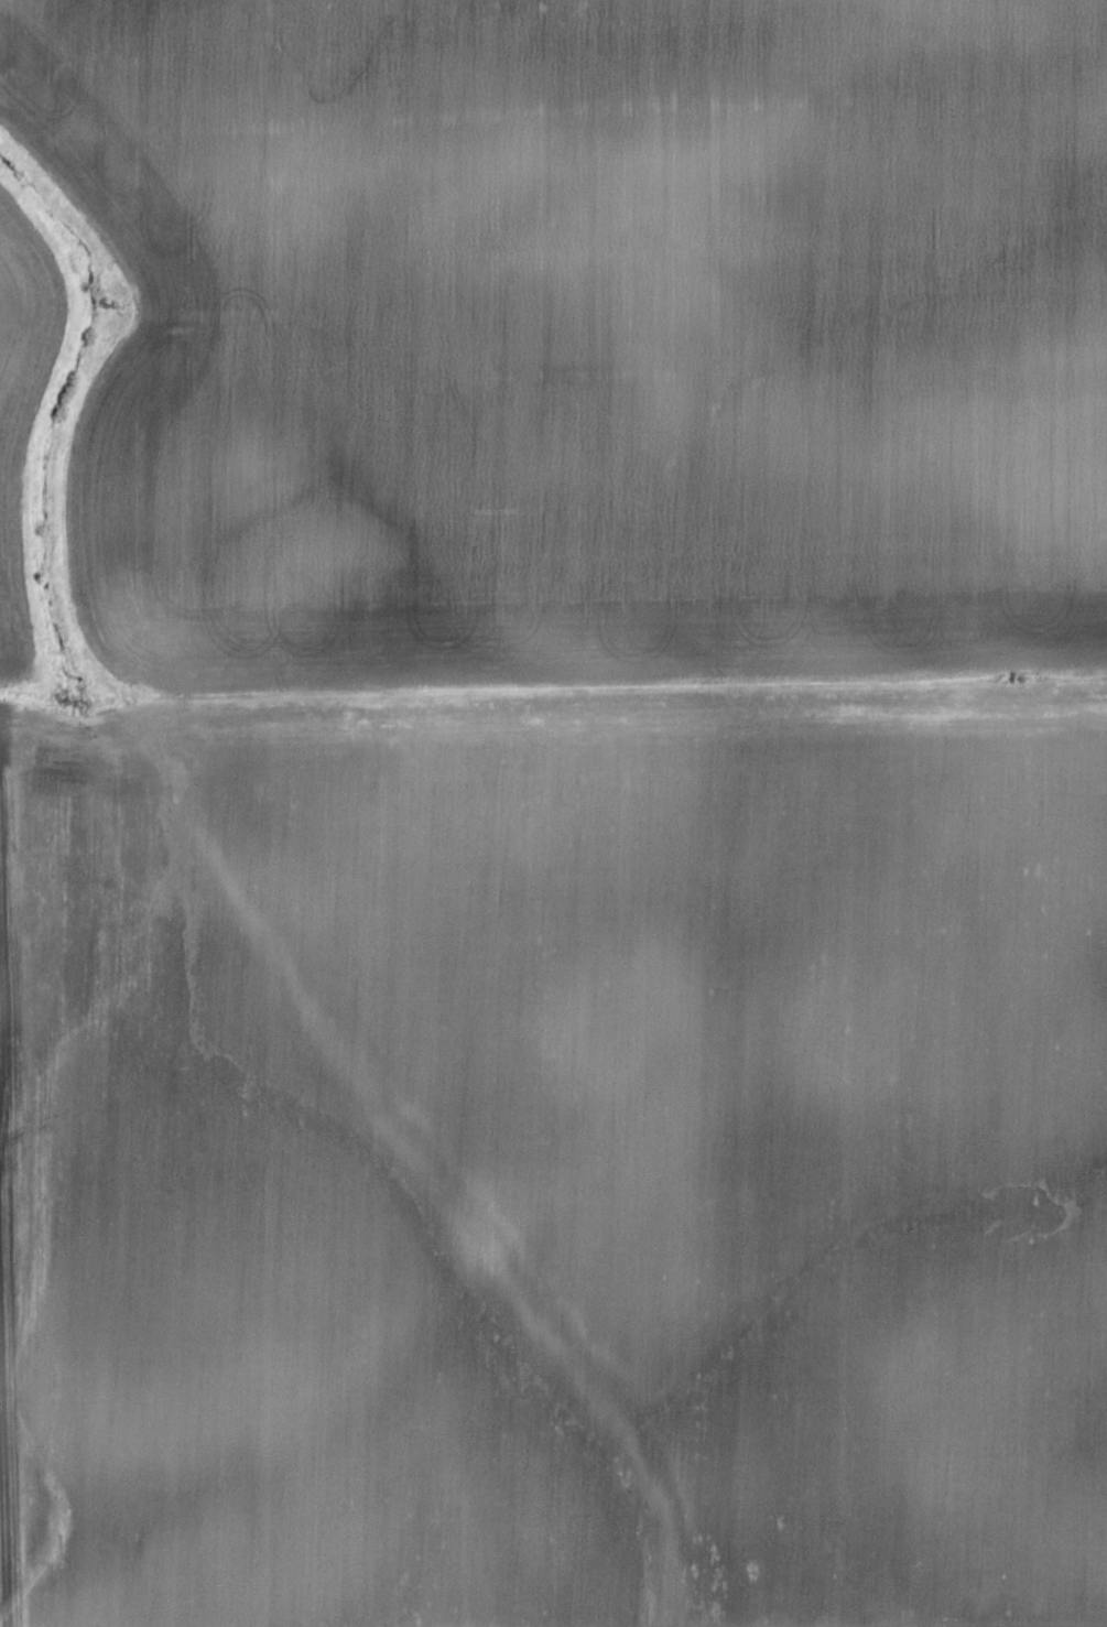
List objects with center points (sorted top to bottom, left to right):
crop: (20, 411)
crop: (568, 824)

